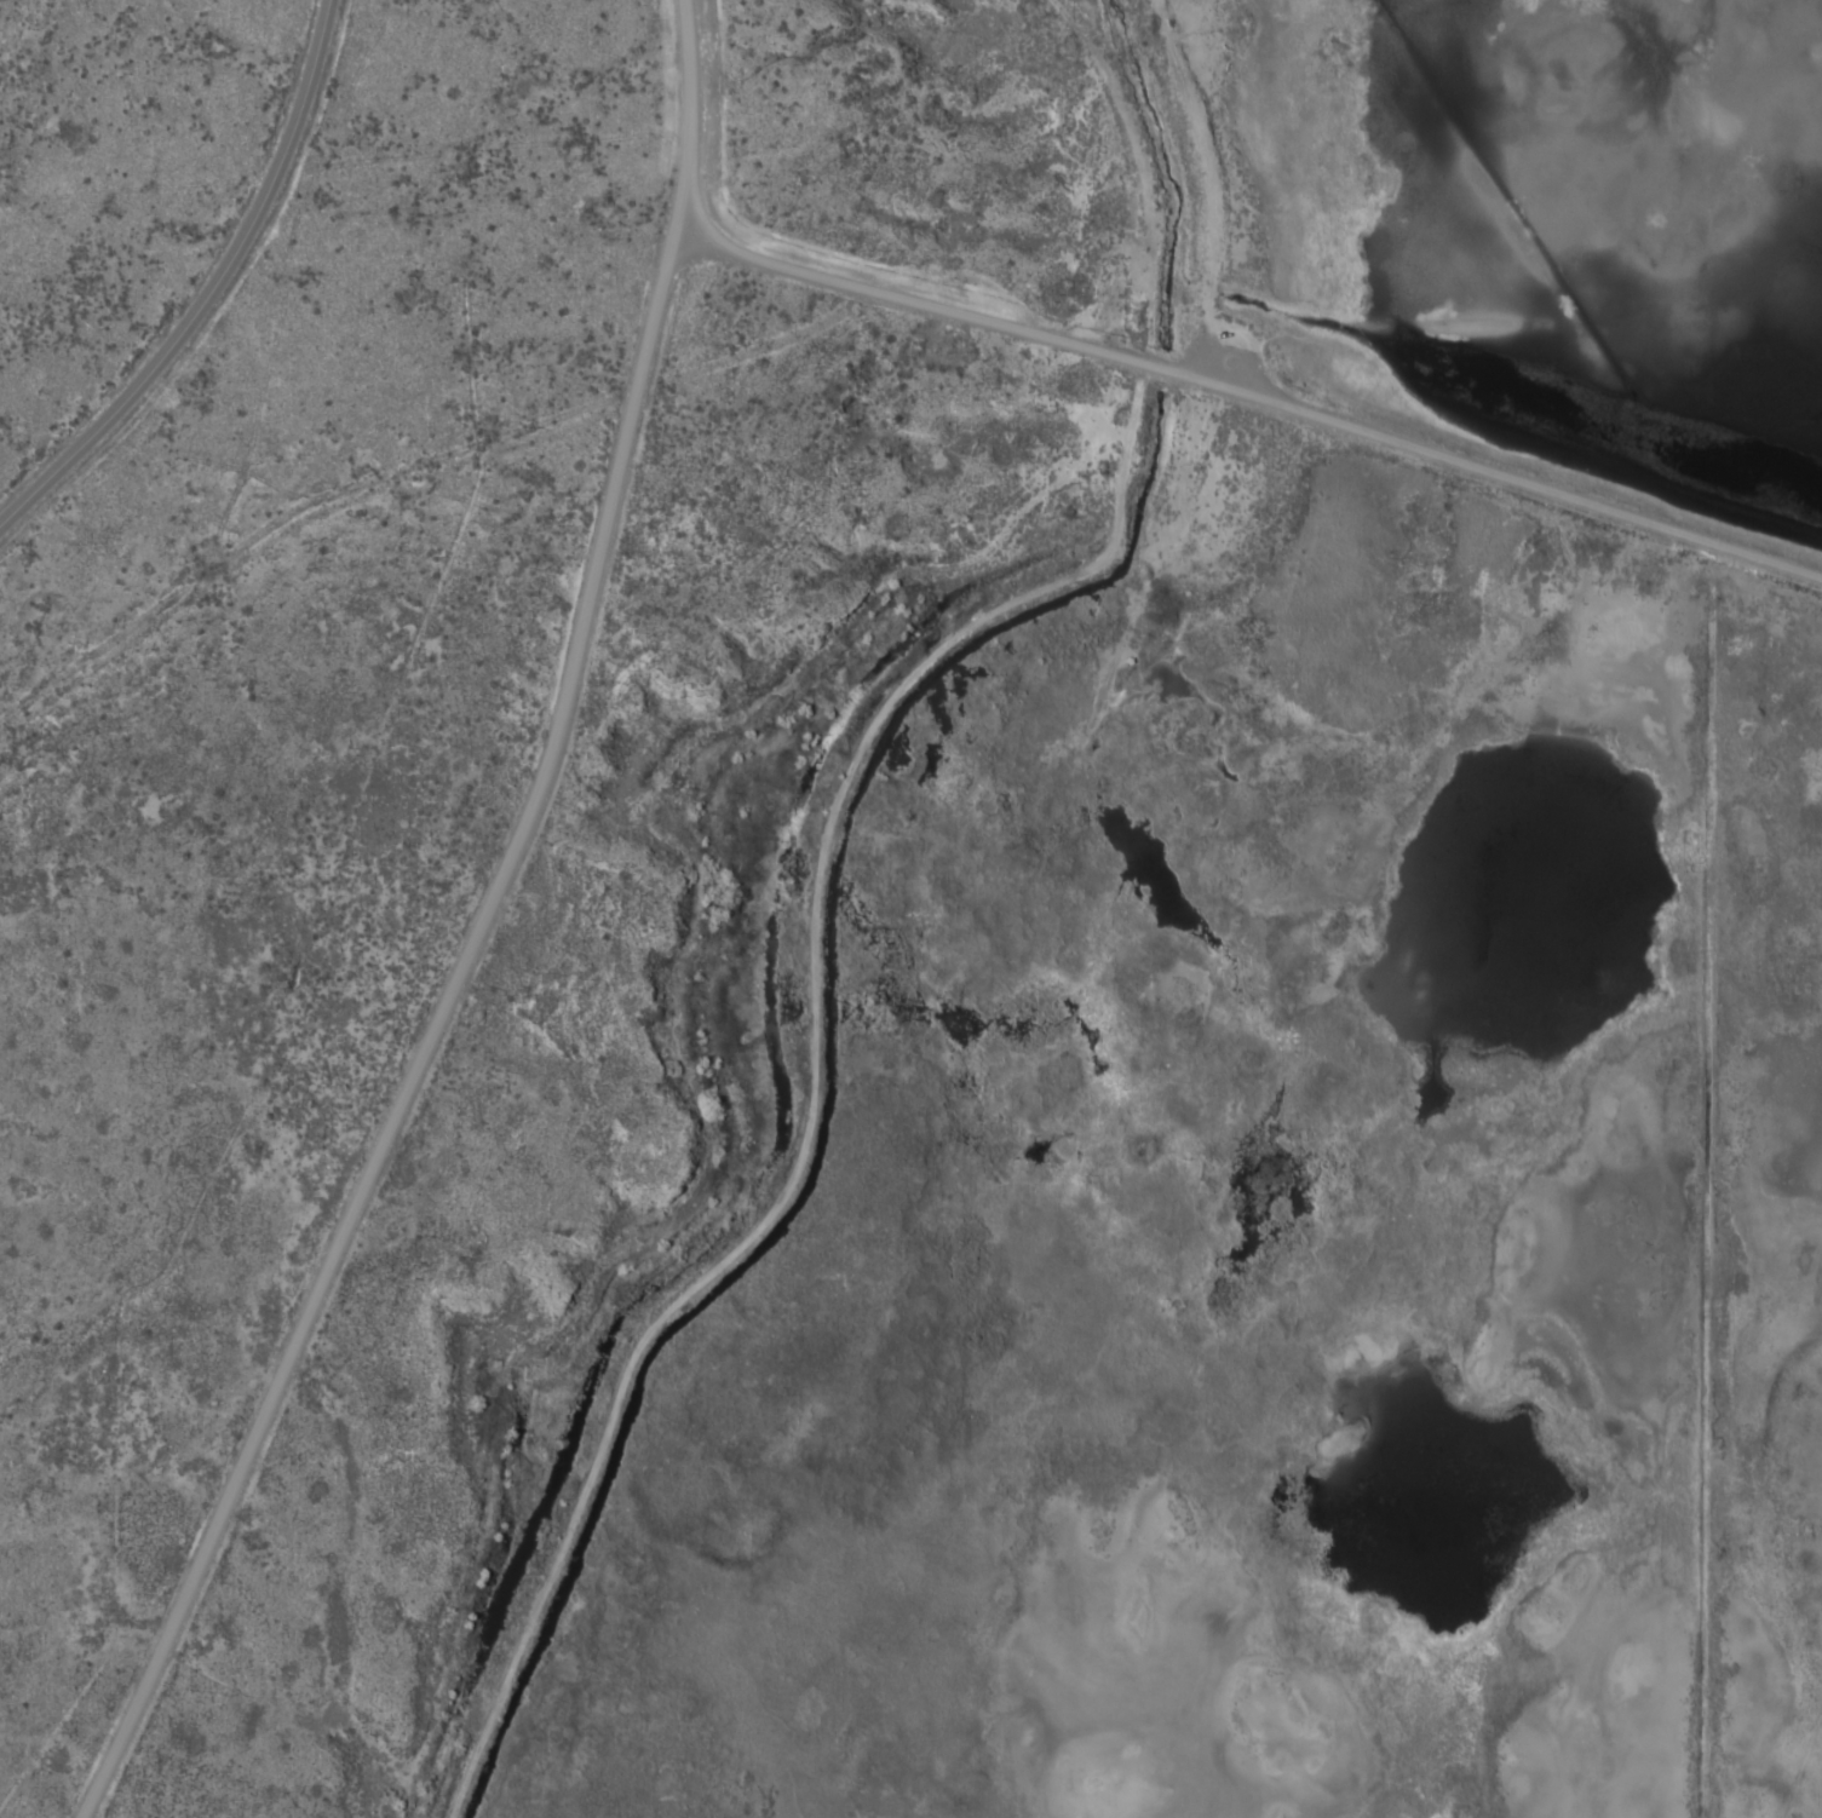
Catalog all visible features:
road: (692, 113)
road: (213, 292)
road: (1249, 396)
road: (433, 1039)

